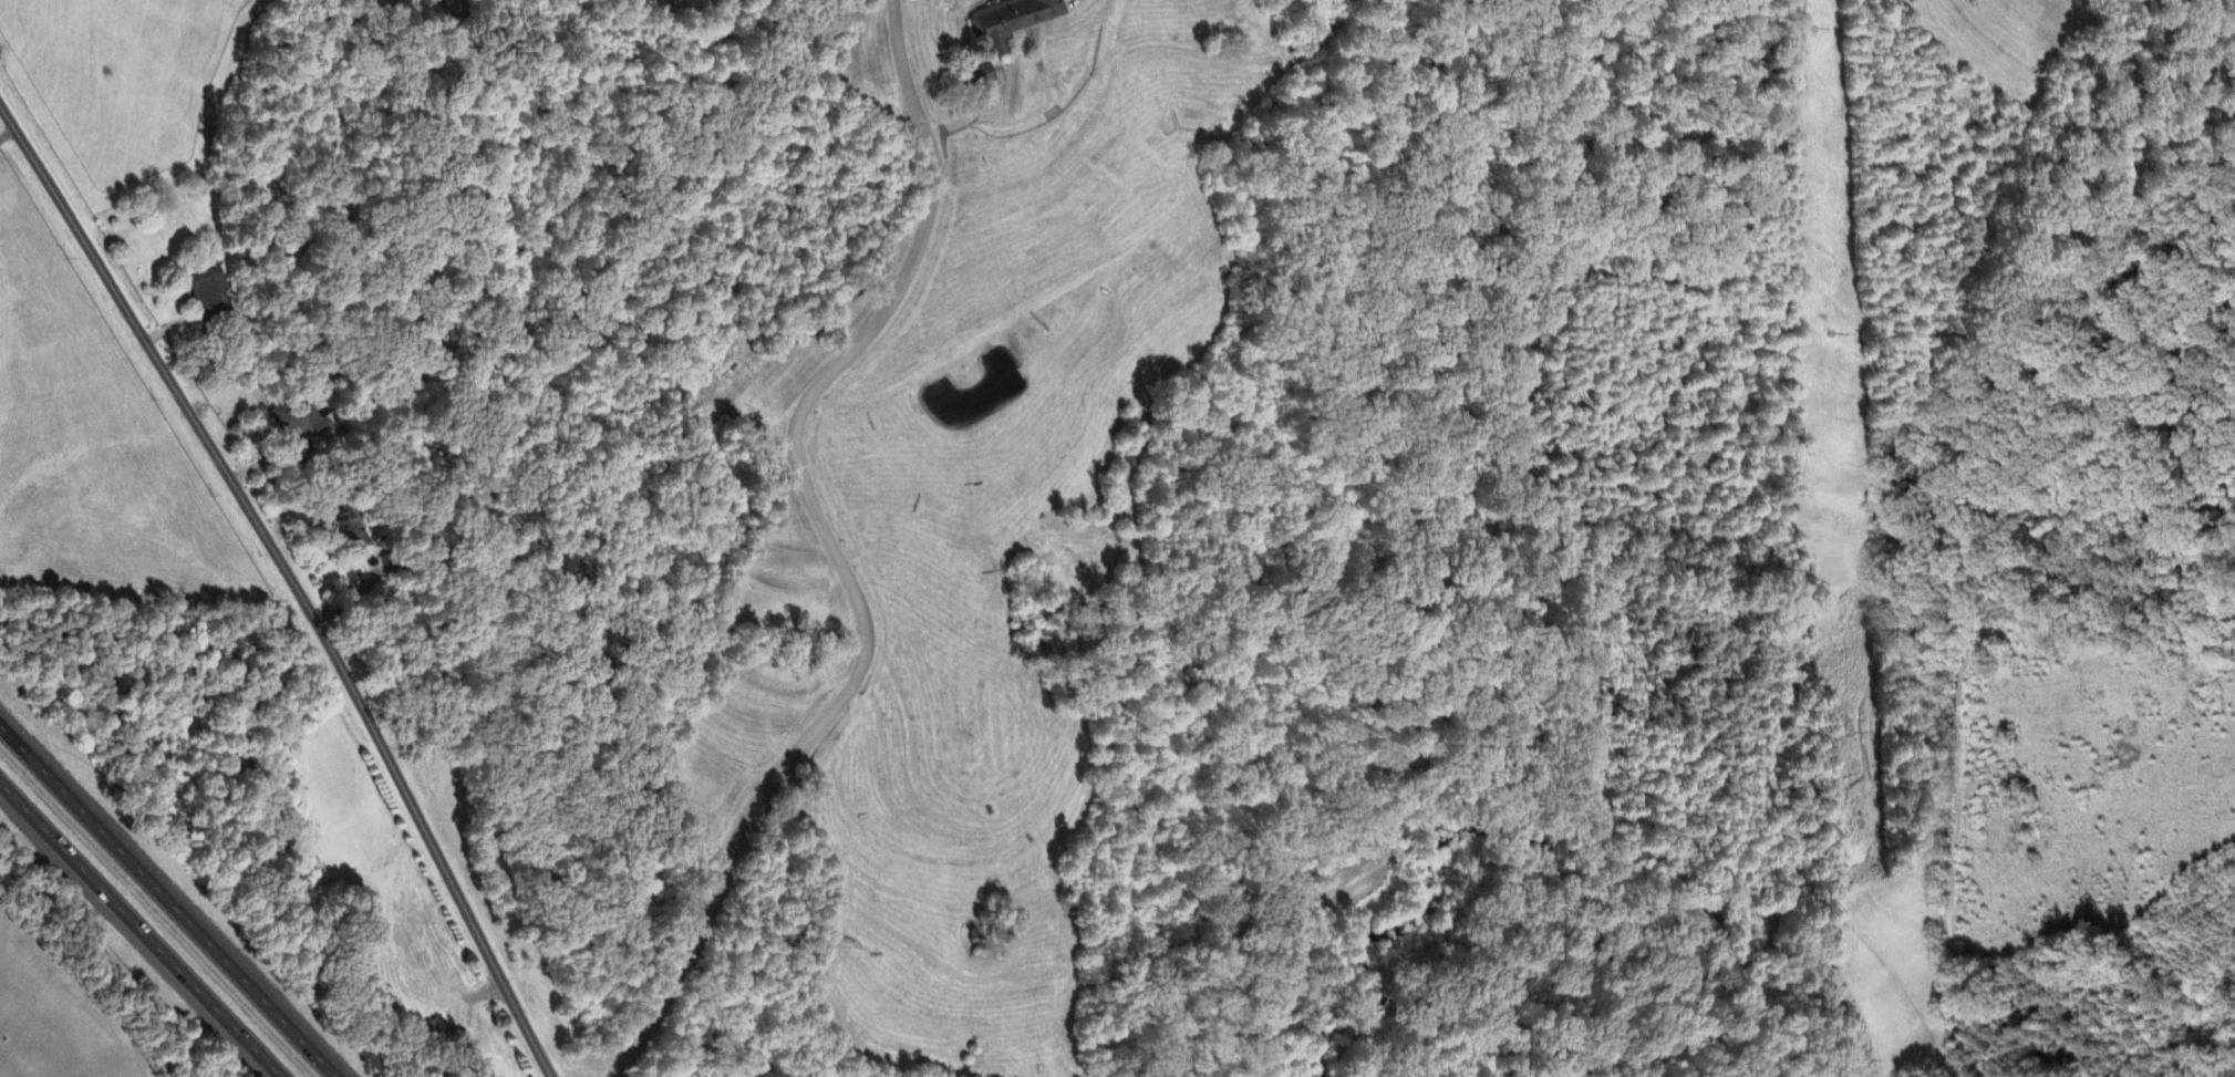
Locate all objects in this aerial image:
road: (835, 548)
road: (293, 584)
road: (168, 899)
road: (137, 932)

